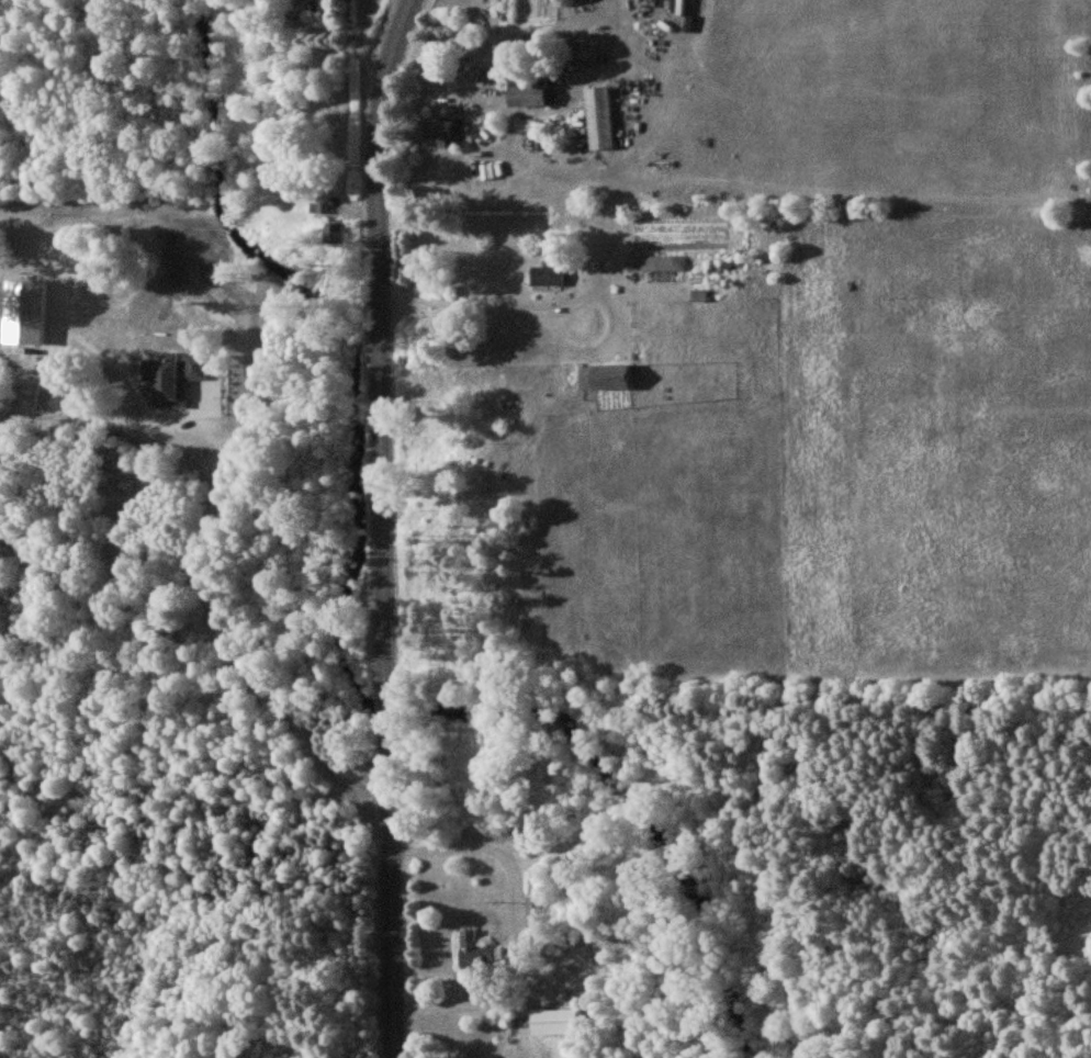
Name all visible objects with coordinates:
road: (392, 69)
road: (374, 70)
building: (528, 90)
building: (601, 117)
building: (447, 131)
building: (335, 233)
building: (660, 262)
building: (548, 275)
road: (531, 306)
building: (22, 313)
building: (606, 378)
building: (171, 379)
road: (383, 599)
road: (228, 639)
road: (519, 934)
building: (477, 949)
building: (553, 1022)

